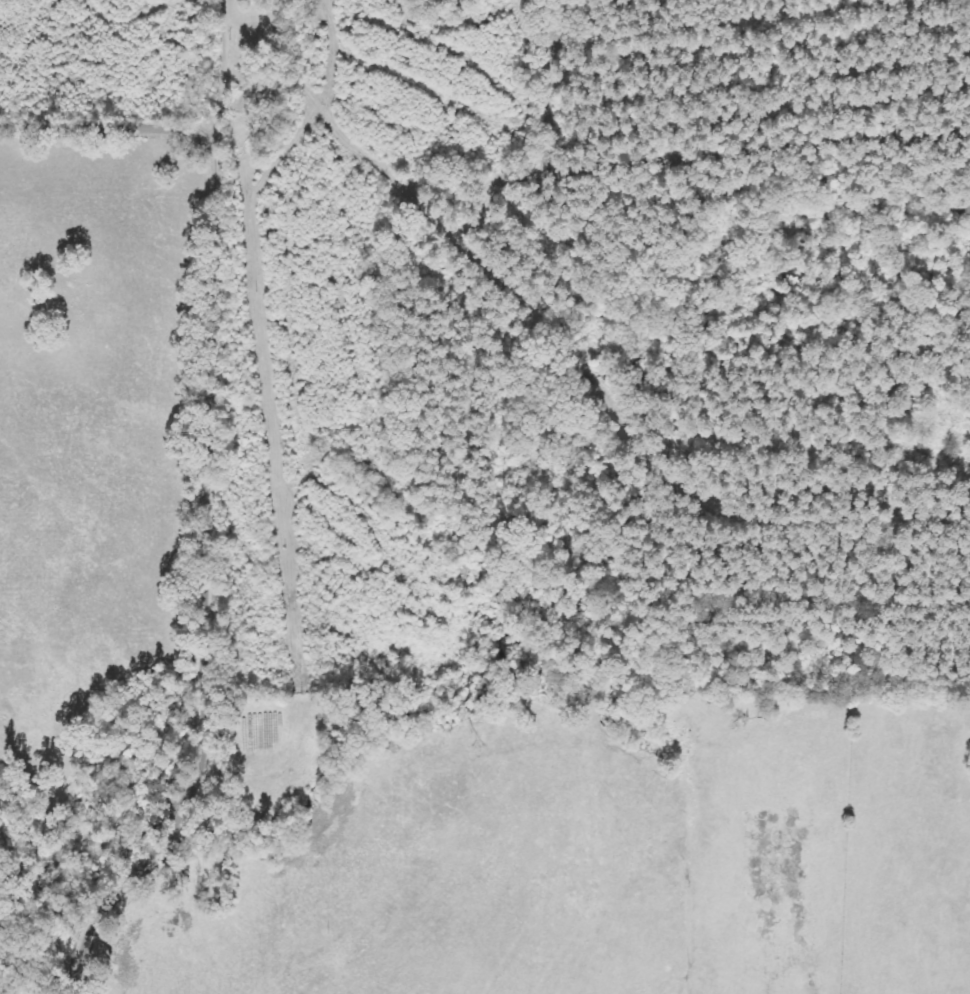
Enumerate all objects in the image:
road: (218, 87)
road: (99, 165)
road: (196, 586)

